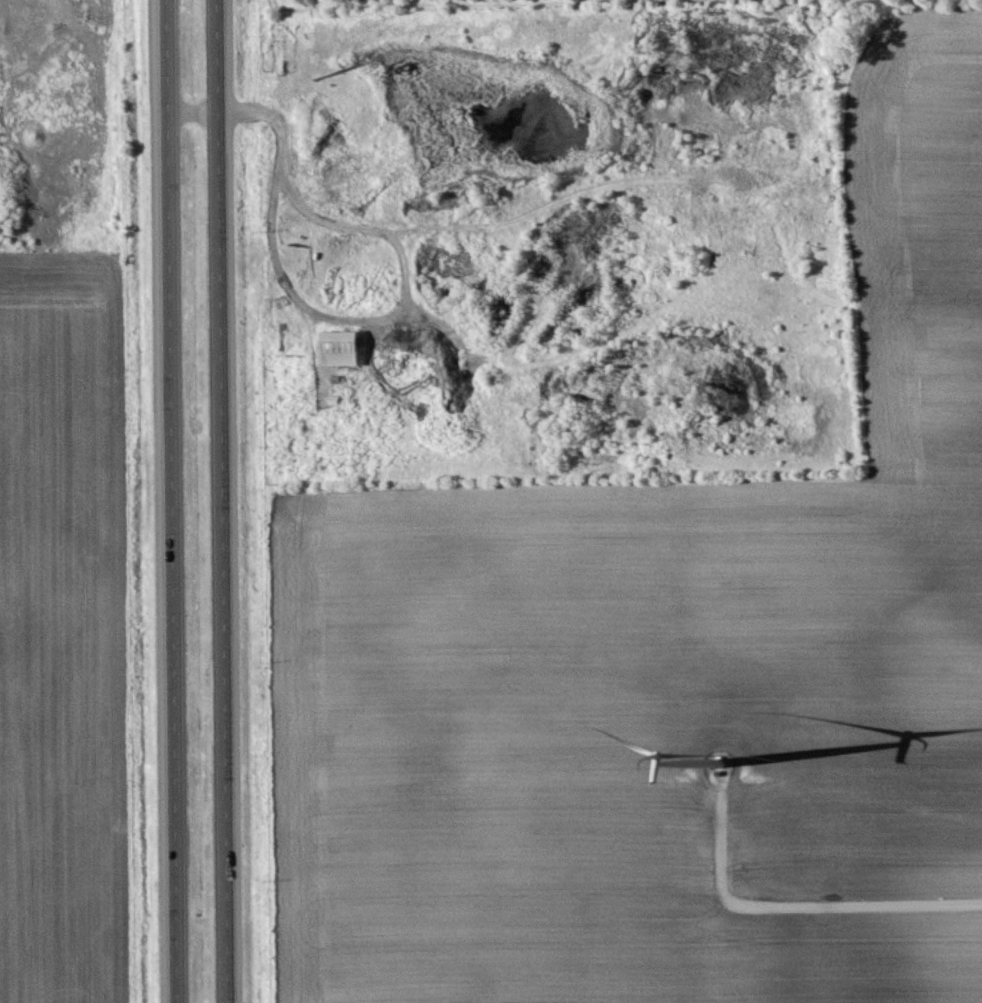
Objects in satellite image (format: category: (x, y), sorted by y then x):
road: (197, 112)
road: (273, 218)
building: (344, 350)
road: (174, 501)
road: (226, 501)
wind turbine: (713, 764)
road: (794, 904)

